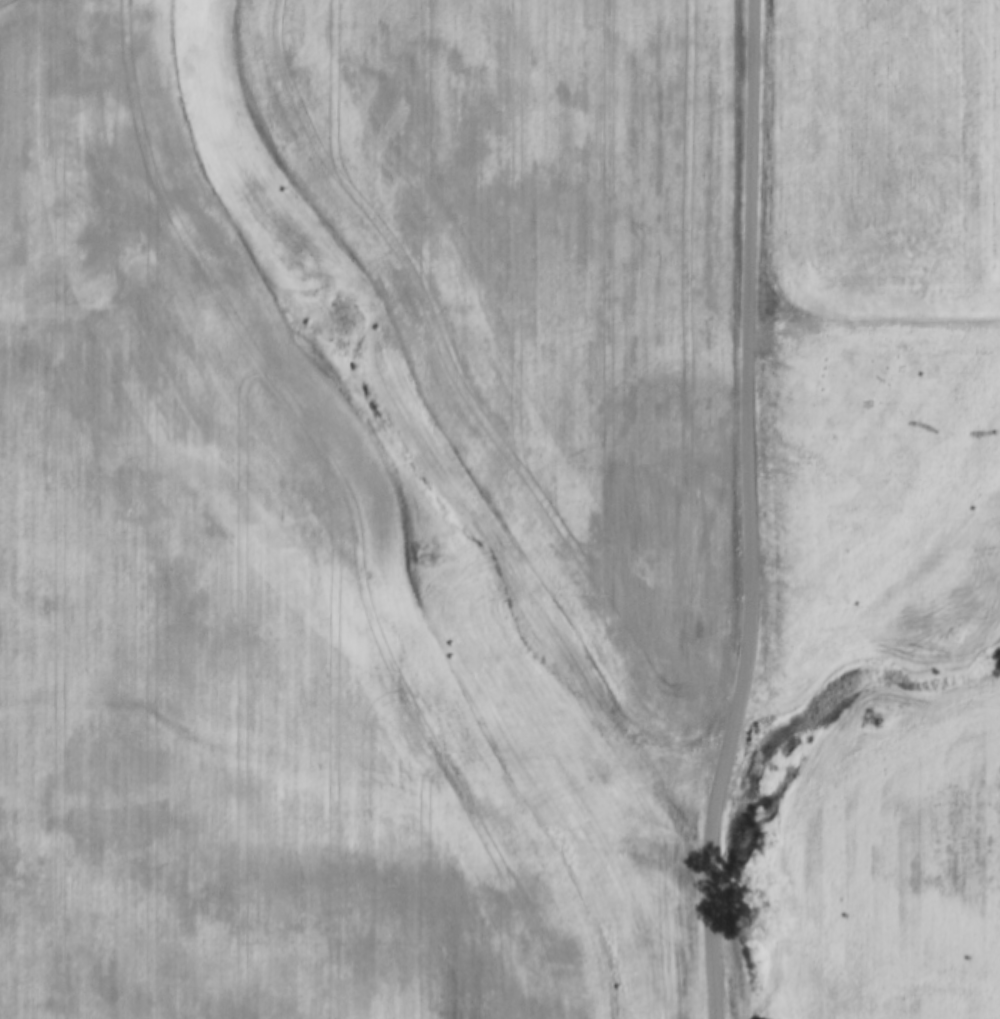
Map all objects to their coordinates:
road: (751, 513)

